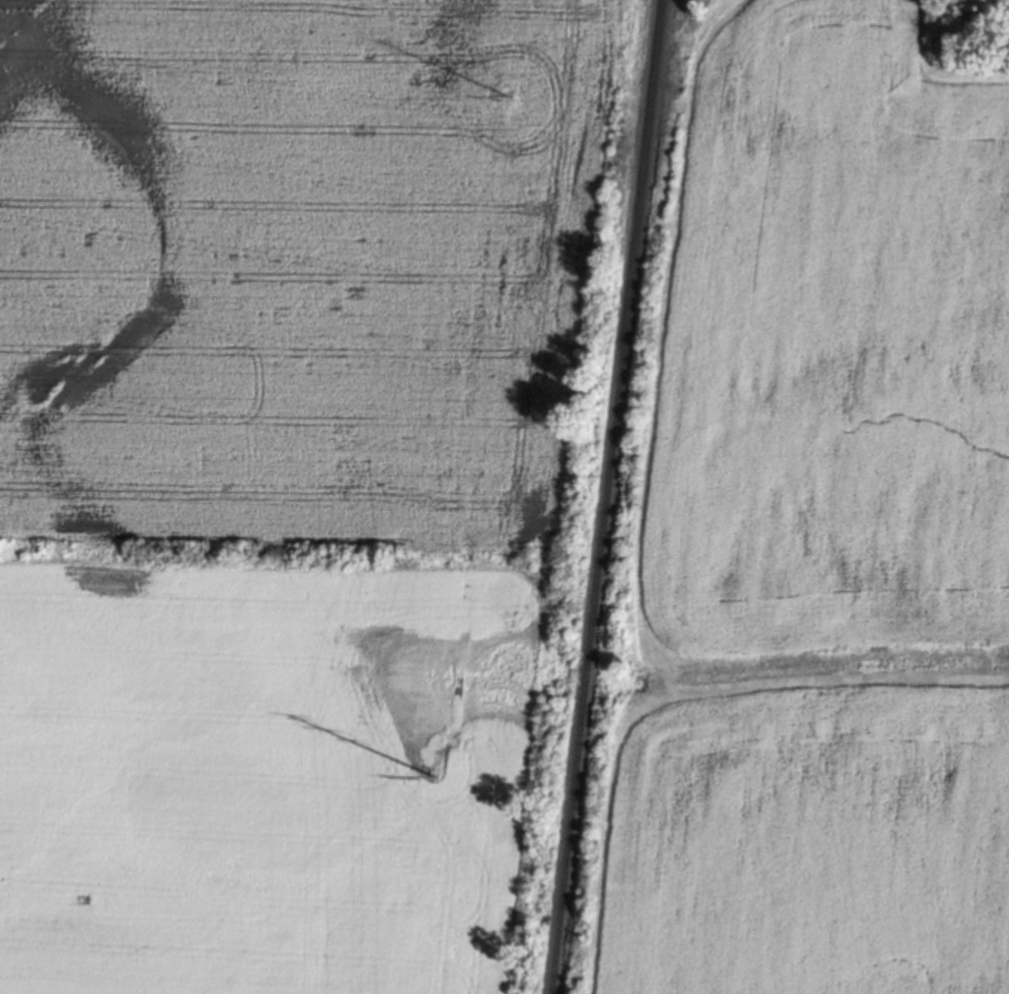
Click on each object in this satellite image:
power tower: (508, 97)
crop: (293, 265)
crop: (835, 347)
railway: (604, 496)
power tower: (434, 769)
crop: (815, 846)

